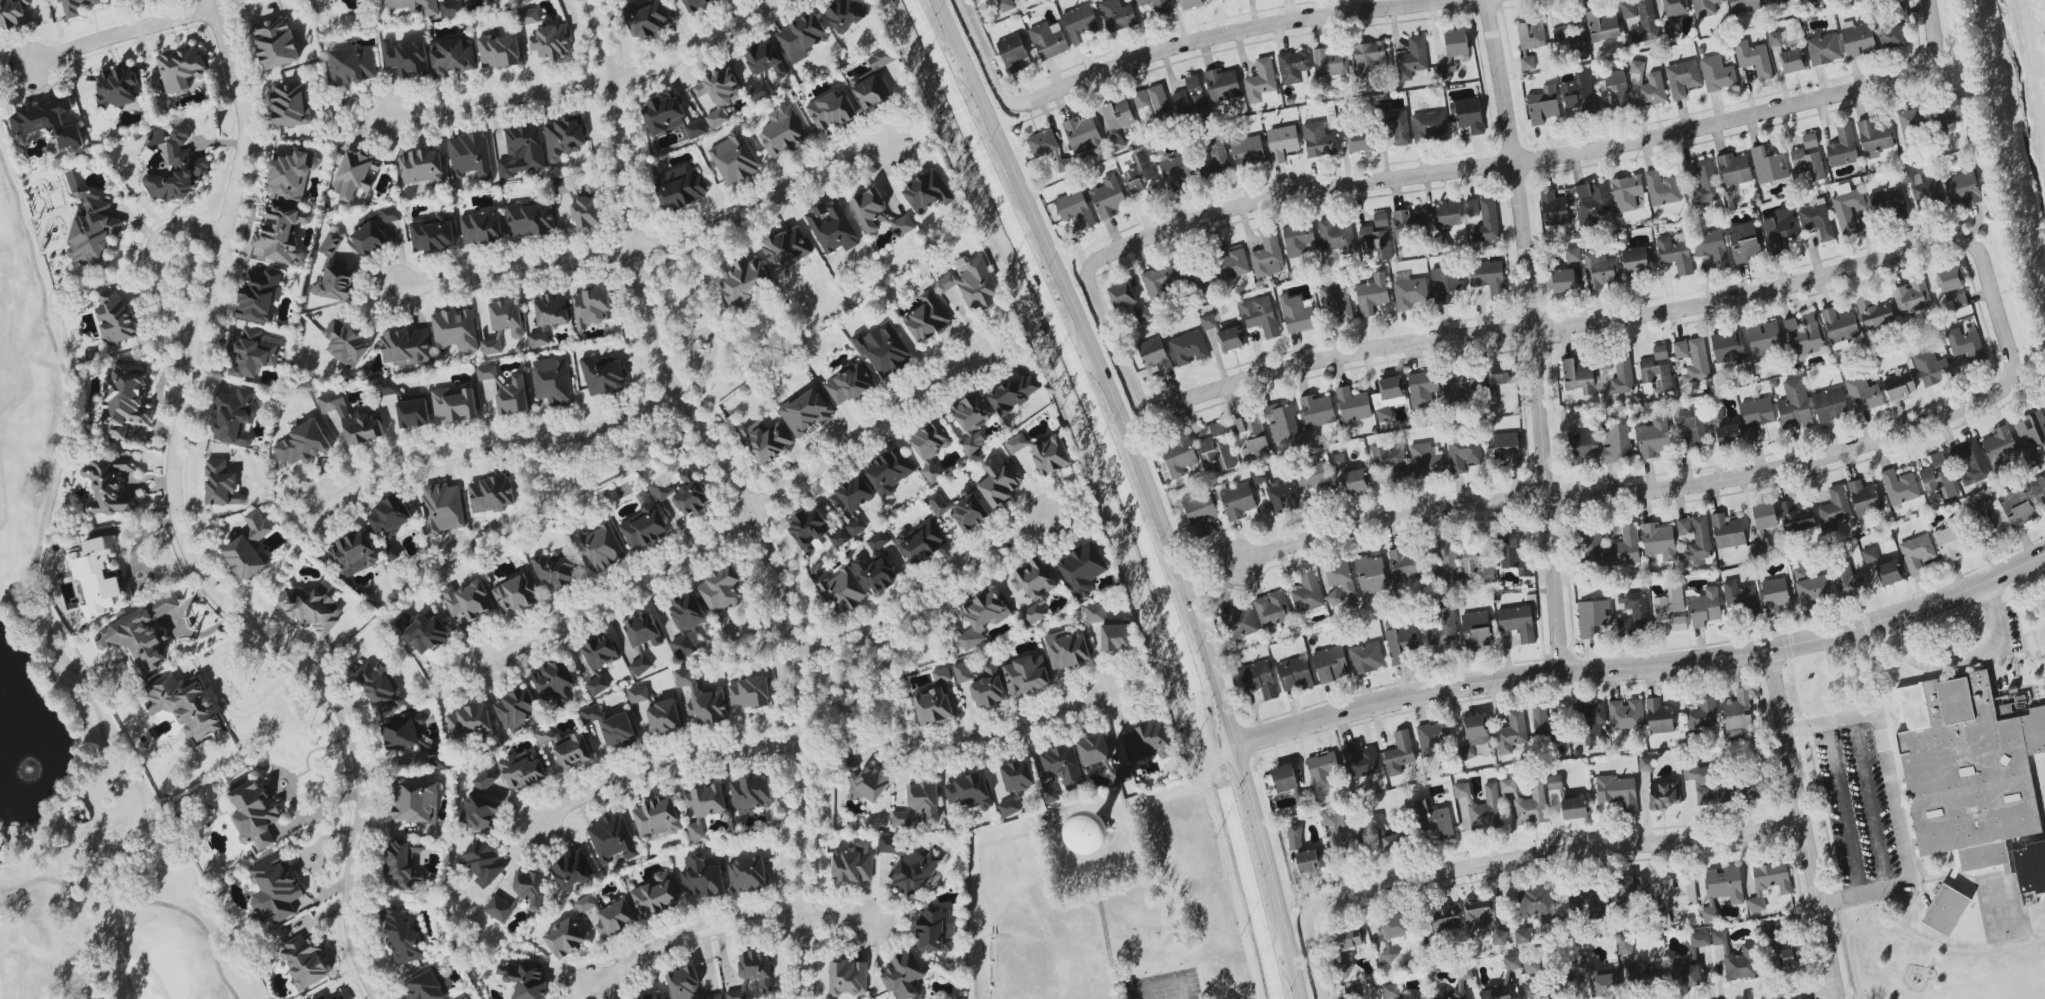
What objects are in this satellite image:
building: (328, 0)
building: (492, 0)
building: (1211, 0)
building: (1807, 0)
building: (1774, 1)
building: (696, 4)
building: (1191, 4)
building: (414, 5)
building: (1006, 5)
building: (1157, 6)
building: (1744, 6)
building: (1675, 7)
building: (1705, 7)
building: (74, 8)
building: (451, 8)
building: (1628, 10)
building: (845, 14)
road: (964, 15)
building: (1117, 15)
building: (529, 16)
building: (649, 19)
building: (1645, 22)
building: (1080, 24)
building: (1603, 25)
road: (1959, 30)
road: (116, 31)
building: (1531, 34)
building: (1560, 35)
building: (1892, 37)
building: (801, 38)
building: (1776, 39)
building: (1048, 40)
building: (1858, 40)
building: (276, 42)
building: (551, 43)
building: (1456, 43)
road: (1183, 44)
building: (1579, 45)
building: (1824, 49)
building: (499, 51)
building: (1013, 53)
building: (451, 57)
building: (1369, 57)
building: (406, 58)
building: (1754, 58)
building: (1411, 59)
building: (766, 60)
building: (1793, 61)
building: (1330, 62)
building: (1527, 62)
building: (353, 65)
building: (1293, 66)
building: (1636, 67)
building: (181, 69)
building: (1445, 71)
building: (1717, 74)
building: (1683, 78)
building: (873, 81)
building: (1192, 82)
building: (1261, 83)
road: (589, 84)
building: (1222, 85)
building: (1617, 86)
building: (117, 87)
building: (1652, 90)
building: (759, 92)
building: (718, 93)
building: (1579, 94)
building: (1141, 99)
building: (1190, 103)
building: (290, 104)
building: (1606, 104)
building: (1543, 105)
building: (830, 111)
building: (664, 114)
building: (1468, 115)
building: (1117, 120)
building: (47, 123)
building: (1429, 126)
building: (1399, 128)
building: (696, 130)
building: (783, 132)
building: (156, 137)
building: (1083, 137)
building: (1874, 137)
building: (563, 138)
road: (1982, 138)
building: (1318, 140)
building: (1360, 140)
building: (1042, 143)
building: (1282, 143)
building: (1810, 143)
building: (1843, 148)
building: (522, 151)
building: (1247, 151)
building: (1218, 154)
building: (470, 155)
building: (735, 159)
building: (1808, 164)
road: (1503, 165)
building: (1768, 165)
building: (422, 166)
building: (178, 169)
building: (1733, 170)
building: (1176, 172)
building: (355, 174)
building: (291, 177)
building: (1142, 177)
building: (1705, 182)
building: (562, 186)
building: (679, 188)
building: (1963, 188)
building: (1662, 189)
building: (1925, 189)
building: (927, 192)
building: (1626, 193)
building: (1108, 196)
building: (1593, 202)
building: (1887, 203)
building: (1471, 208)
building: (587, 209)
building: (1075, 209)
building: (1553, 209)
building: (870, 210)
building: (1850, 210)
building: (1446, 215)
building: (531, 219)
building: (1817, 219)
building: (1380, 220)
building: (1487, 222)
building: (1409, 224)
building: (903, 225)
building: (90, 227)
building: (832, 227)
building: (481, 228)
building: (1779, 229)
building: (374, 232)
building: (281, 233)
building: (433, 233)
building: (1336, 237)
building: (1299, 240)
building: (1376, 241)
building: (1744, 242)
road: (649, 246)
building: (786, 247)
building: (1711, 247)
building: (1676, 253)
building: (1572, 255)
building: (1267, 257)
road: (153, 260)
building: (1232, 263)
building: (1635, 263)
building: (1601, 271)
building: (334, 274)
building: (1489, 277)
building: (1950, 279)
building: (745, 280)
building: (1563, 281)
building: (1160, 282)
building: (1203, 282)
building: (972, 283)
building: (1446, 283)
road: (2004, 290)
building: (1409, 291)
road: (2018, 293)
building: (1372, 294)
building: (1122, 295)
building: (259, 296)
building: (1911, 298)
building: (1956, 299)
building: (1337, 300)
building: (592, 307)
building: (551, 309)
building: (1874, 314)
building: (1142, 315)
building: (1296, 315)
building: (1260, 316)
building: (507, 317)
building: (116, 318)
building: (926, 318)
building: (1209, 322)
building: (1790, 324)
road: (1554, 326)
building: (1839, 328)
building: (455, 330)
road: (1532, 334)
building: (1806, 336)
building: (1765, 338)
building: (1231, 339)
building: (539, 340)
building: (346, 343)
building: (407, 346)
building: (1728, 346)
building: (491, 347)
building: (1188, 348)
building: (1966, 348)
building: (1681, 349)
building: (884, 350)
building: (252, 353)
building: (1154, 356)
building: (1696, 363)
building: (1931, 368)
building: (1656, 371)
building: (487, 372)
building: (1618, 374)
building: (602, 375)
building: (1578, 376)
building: (1496, 379)
building: (552, 380)
building: (1899, 384)
building: (849, 385)
building: (388, 387)
building: (1457, 387)
building: (1422, 388)
building: (1015, 393)
building: (1863, 394)
building: (513, 396)
building: (1388, 396)
building: (125, 401)
building: (455, 403)
building: (1830, 404)
building: (1353, 405)
building: (1794, 405)
building: (806, 411)
building: (1317, 411)
building: (413, 413)
building: (1715, 415)
building: (235, 417)
building: (1756, 417)
building: (352, 419)
building: (972, 421)
building: (1282, 423)
building: (1237, 426)
building: (1692, 426)
building: (1217, 429)
building: (1254, 434)
building: (2031, 434)
building: (1728, 435)
building: (1653, 438)
building: (766, 440)
building: (1616, 442)
building: (303, 444)
building: (1015, 444)
building: (2001, 446)
building: (931, 447)
building: (1584, 447)
road: (497, 448)
building: (1507, 449)
building: (1217, 453)
building: (1463, 454)
building: (1051, 455)
building: (1178, 456)
building: (1936, 459)
building: (1425, 460)
building: (1337, 461)
building: (1390, 461)
building: (1970, 461)
building: (890, 471)
building: (1314, 480)
building: (1356, 481)
building: (999, 482)
building: (221, 484)
building: (110, 485)
road: (1669, 486)
building: (1900, 487)
road: (742, 488)
road: (1151, 488)
building: (660, 490)
building: (2039, 490)
building: (1277, 492)
building: (855, 493)
building: (490, 494)
building: (690, 495)
building: (1863, 498)
building: (1236, 500)
building: (2017, 507)
building: (442, 508)
building: (1835, 509)
building: (961, 510)
building: (1199, 512)
building: (1765, 516)
building: (390, 517)
building: (1796, 517)
road: (738, 518)
building: (1989, 521)
building: (856, 526)
building: (644, 527)
building: (1684, 527)
road: (182, 529)
building: (808, 529)
building: (1728, 532)
building: (839, 538)
building: (1699, 540)
building: (1950, 540)
building: (878, 541)
building: (1658, 541)
building: (921, 542)
building: (599, 547)
building: (249, 548)
building: (1594, 548)
building: (1625, 548)
building: (1515, 553)
building: (1917, 553)
building: (354, 554)
building: (1869, 555)
building: (1447, 562)
building: (1480, 564)
building: (1406, 565)
building: (1082, 568)
building: (555, 571)
building: (875, 573)
building: (1798, 573)
building: (1889, 573)
building: (1371, 574)
building: (97, 576)
building: (1341, 577)
building: (1849, 582)
building: (720, 589)
building: (841, 590)
building: (1814, 590)
building: (1307, 593)
building: (517, 594)
building: (1774, 595)
road: (924, 598)
building: (1334, 598)
building: (1740, 599)
building: (468, 600)
building: (1669, 602)
building: (1704, 607)
building: (1635, 608)
building: (1272, 609)
building: (313, 610)
building: (1095, 614)
building: (981, 617)
building: (1593, 617)
building: (1518, 622)
building: (1240, 623)
building: (1679, 623)
building: (687, 624)
building: (1624, 628)
building: (1442, 629)
building: (1477, 630)
building: (424, 632)
building: (140, 634)
building: (1116, 638)
building: (643, 639)
building: (1401, 643)
building: (1067, 649)
road: (1962, 655)
building: (1366, 657)
building: (599, 661)
building: (1330, 664)
road: (1647, 664)
building: (962, 672)
building: (1294, 674)
building: (1026, 676)
building: (1258, 679)
building: (554, 682)
building: (380, 687)
building: (988, 687)
building: (750, 693)
building: (638, 694)
building: (702, 699)
road: (222, 700)
building: (185, 705)
building: (932, 706)
building: (516, 710)
building: (1738, 713)
building: (1626, 714)
building: (1703, 715)
building: (1659, 716)
building: (664, 717)
building: (1593, 723)
building: (470, 724)
building: (1544, 725)
building: (611, 727)
building: (1512, 732)
building: (1475, 736)
building: (414, 738)
building: (1433, 738)
building: (1148, 741)
road: (954, 747)
building: (565, 748)
park: (114, 749)
building: (1093, 750)
building: (1399, 753)
building: (1360, 761)
building: (1646, 764)
road: (659, 767)
building: (522, 770)
building: (1322, 770)
building: (1060, 771)
building: (1018, 776)
building: (1120, 776)
building: (863, 778)
building: (1284, 778)
building: (485, 779)
building: (1555, 784)
building: (1706, 785)
road: (1195, 787)
building: (1751, 788)
building: (1972, 788)
building: (969, 791)
building: (1617, 792)
building: (750, 795)
building: (1664, 795)
road: (1892, 798)
building: (416, 801)
building: (1526, 802)
parking lot: (1856, 804)
road: (1869, 804)
building: (919, 805)
building: (704, 806)
building: (1009, 806)
building: (1481, 806)
building: (1574, 809)
road: (1842, 809)
building: (481, 812)
building: (254, 814)
building: (657, 818)
building: (1434, 819)
road: (1804, 824)
building: (1376, 828)
building: (1343, 832)
building: (1093, 833)
building: (1295, 837)
building: (612, 839)
building: (1394, 843)
building: (2010, 856)
road: (1507, 858)
building: (1312, 860)
building: (484, 863)
building: (853, 864)
building: (403, 865)
building: (909, 865)
building: (572, 871)
building: (748, 875)
building: (702, 877)
building: (1769, 882)
building: (530, 887)
building: (1630, 888)
building: (275, 890)
building: (1722, 890)
building: (656, 896)
building: (1675, 896)
building: (1585, 901)
building: (1536, 903)
building: (586, 904)
building: (499, 909)
building: (1445, 918)
building: (615, 919)
building: (1484, 919)
road: (720, 924)
building: (1395, 926)
building: (935, 930)
road: (1904, 932)
building: (403, 934)
building: (1523, 936)
building: (565, 938)
building: (1700, 939)
building: (1347, 940)
building: (1625, 945)
building: (1789, 956)
building: (1736, 958)
building: (305, 962)
building: (1512, 962)
building: (1532, 967)
building: (753, 974)
building: (903, 975)
building: (1685, 975)
building: (1644, 976)
building: (848, 978)
building: (524, 979)
building: (1603, 984)
building: (687, 985)
building: (426, 986)
road: (1165, 989)
building: (1393, 992)
building: (1496, 993)
building: (655, 996)
building: (320, 997)
building: (339, 997)
building: (462, 997)
road: (1835, 998)

